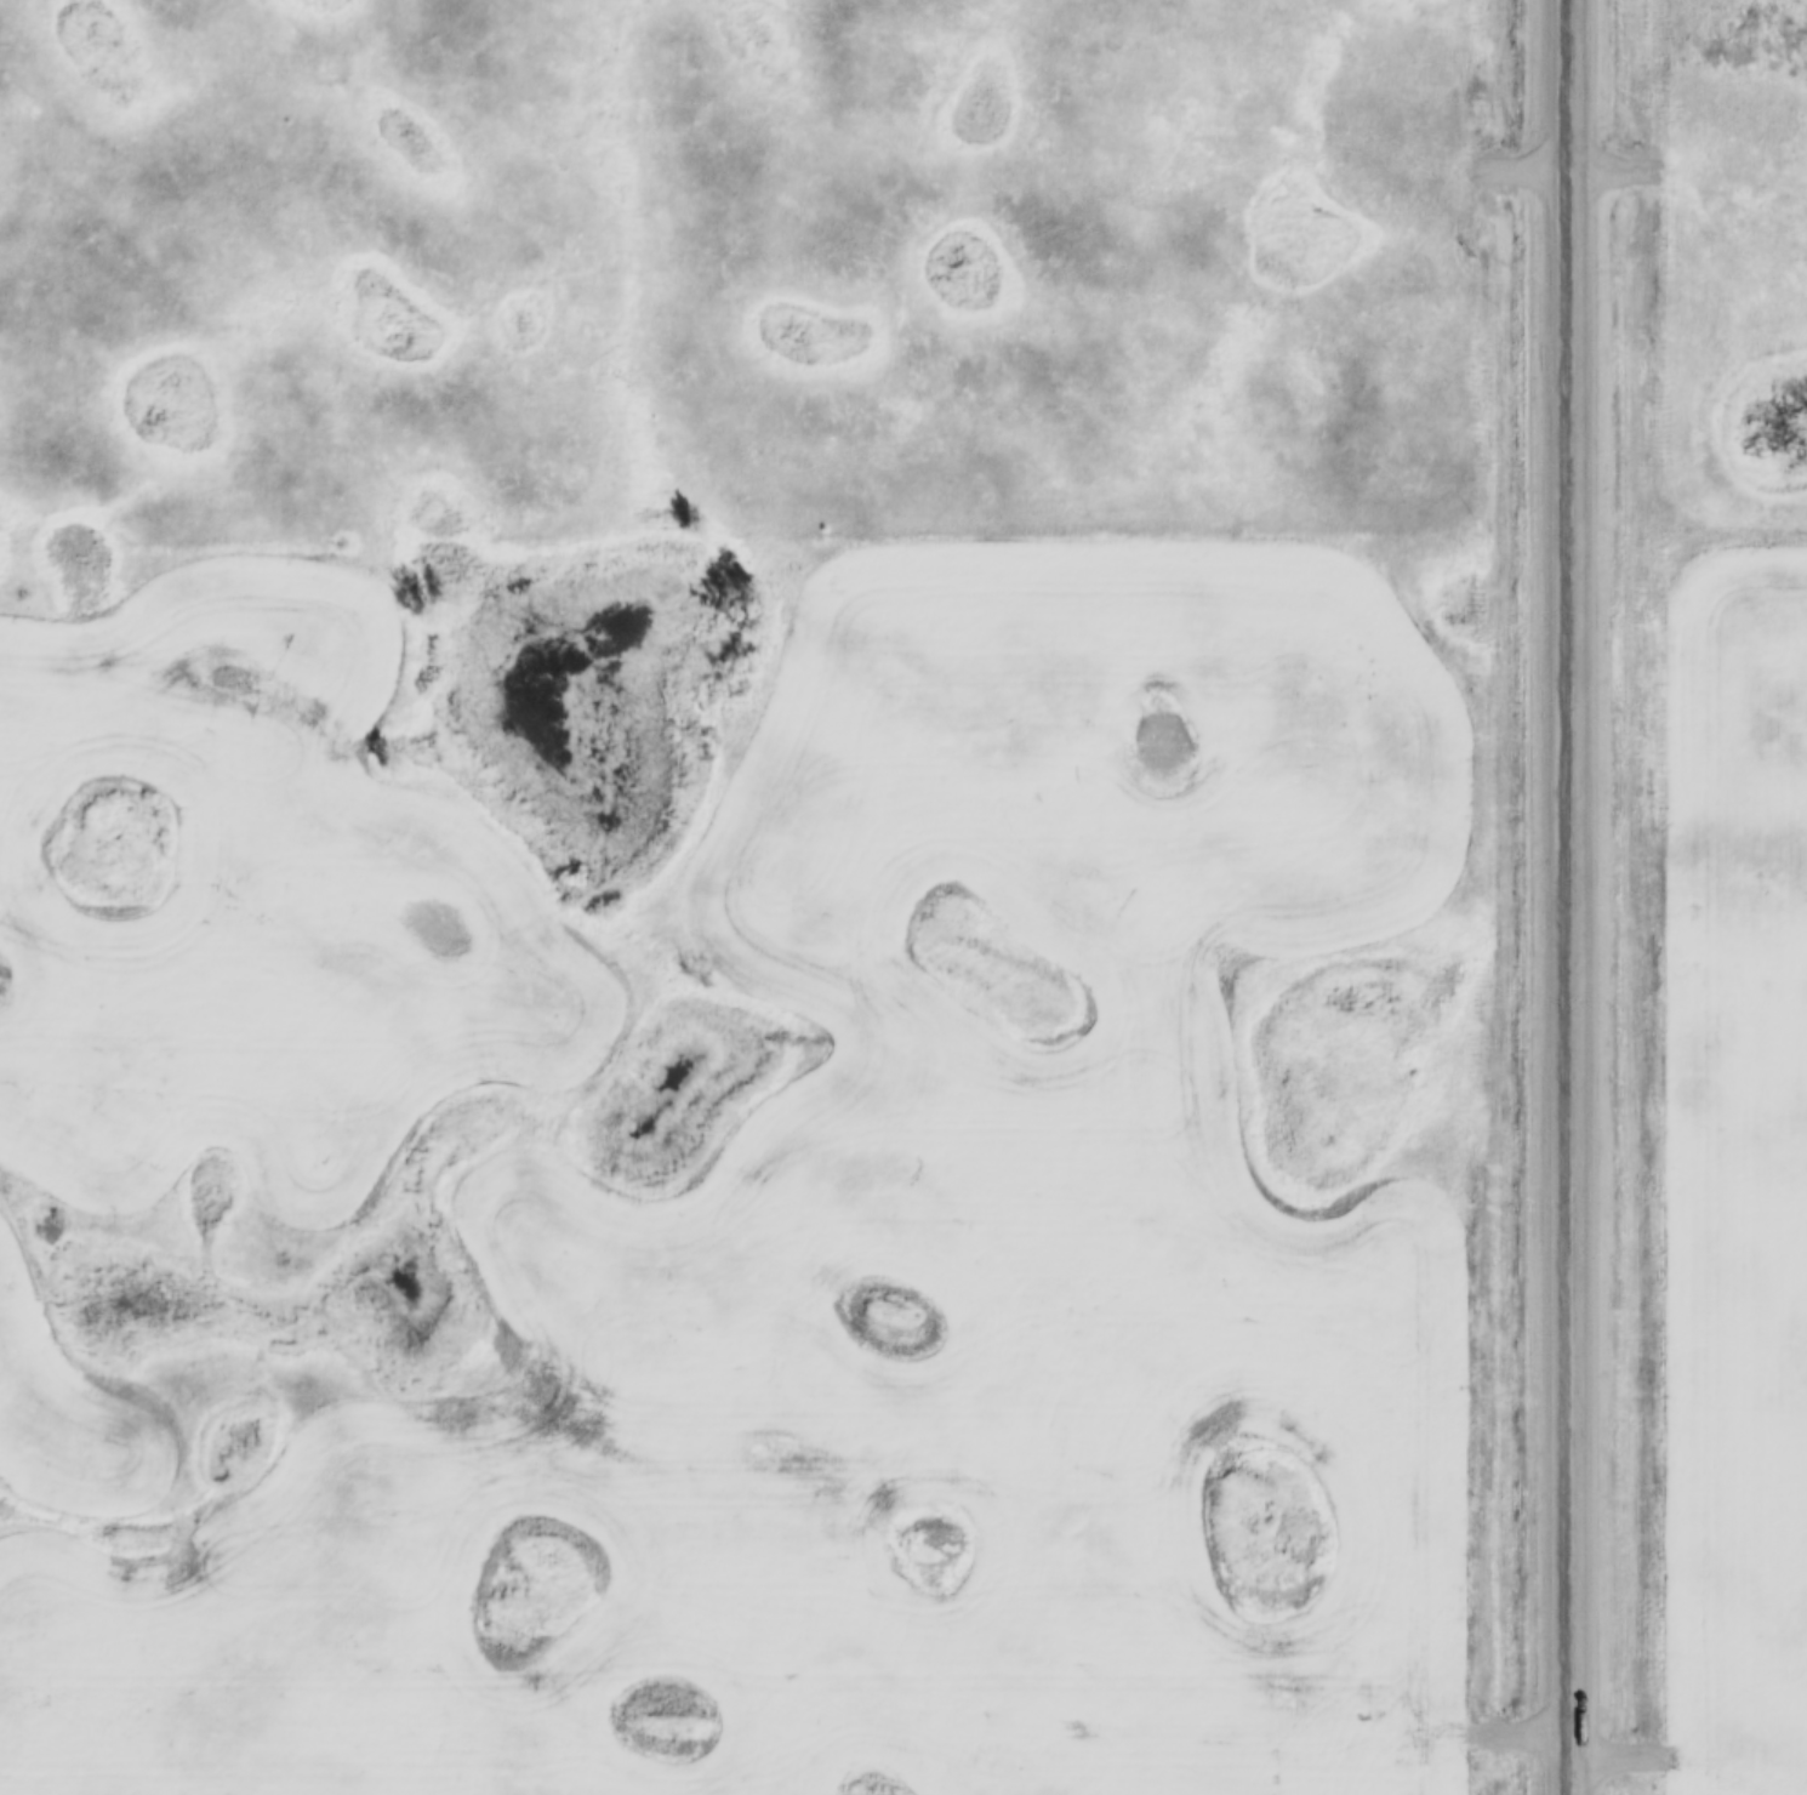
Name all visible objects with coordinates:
road: (1572, 898)

